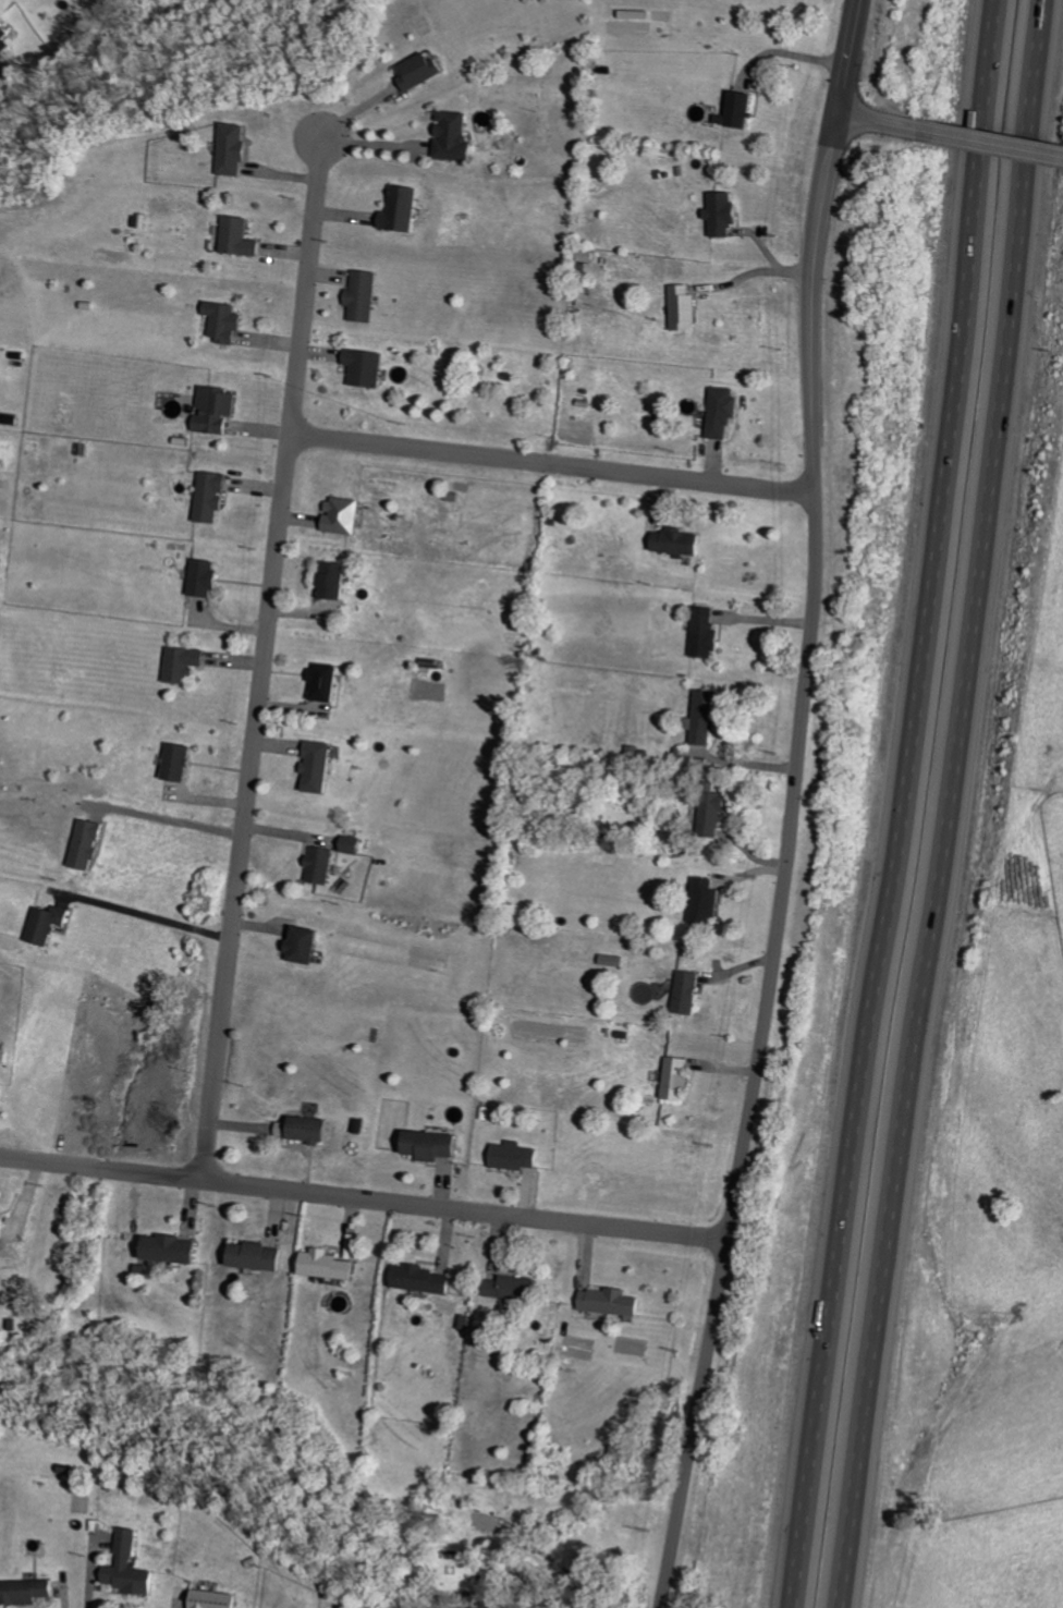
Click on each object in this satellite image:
building: (7, 31)
road: (787, 53)
road: (848, 56)
building: (425, 72)
building: (744, 110)
road: (881, 121)
building: (459, 136)
road: (993, 143)
building: (237, 148)
building: (404, 209)
building: (725, 215)
building: (242, 236)
road: (757, 275)
building: (365, 296)
building: (686, 308)
building: (228, 322)
building: (368, 367)
building: (219, 411)
building: (724, 413)
road: (552, 464)
building: (215, 497)
building: (346, 516)
building: (680, 541)
building: (209, 578)
building: (340, 581)
building: (708, 632)
road: (266, 657)
building: (188, 665)
building: (330, 682)
building: (708, 716)
building: (181, 760)
building: (325, 766)
road: (893, 803)
road: (940, 804)
building: (714, 812)
road: (168, 824)
building: (90, 843)
building: (355, 844)
road: (785, 863)
building: (325, 864)
building: (707, 901)
road: (149, 921)
building: (51, 924)
building: (308, 943)
building: (614, 960)
building: (689, 991)
building: (645, 992)
building: (680, 1077)
building: (1, 1093)
building: (315, 1129)
building: (435, 1145)
building: (516, 1156)
road: (364, 1199)
building: (5, 1227)
building: (176, 1248)
building: (261, 1256)
building: (332, 1265)
building: (426, 1279)
building: (515, 1287)
building: (614, 1301)
building: (133, 1567)
road: (87, 1581)
building: (28, 1592)
building: (219, 1599)

